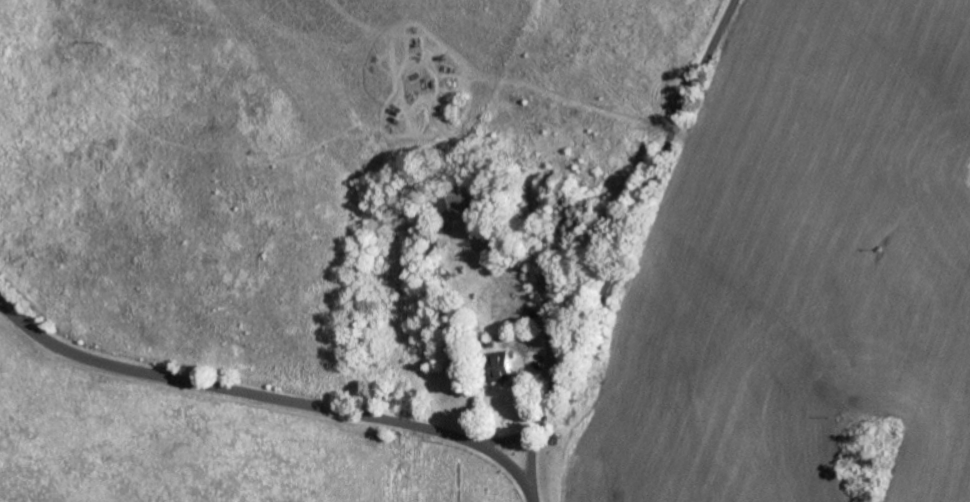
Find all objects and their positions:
road: (631, 227)
building: (503, 368)
road: (257, 396)
road: (531, 478)

